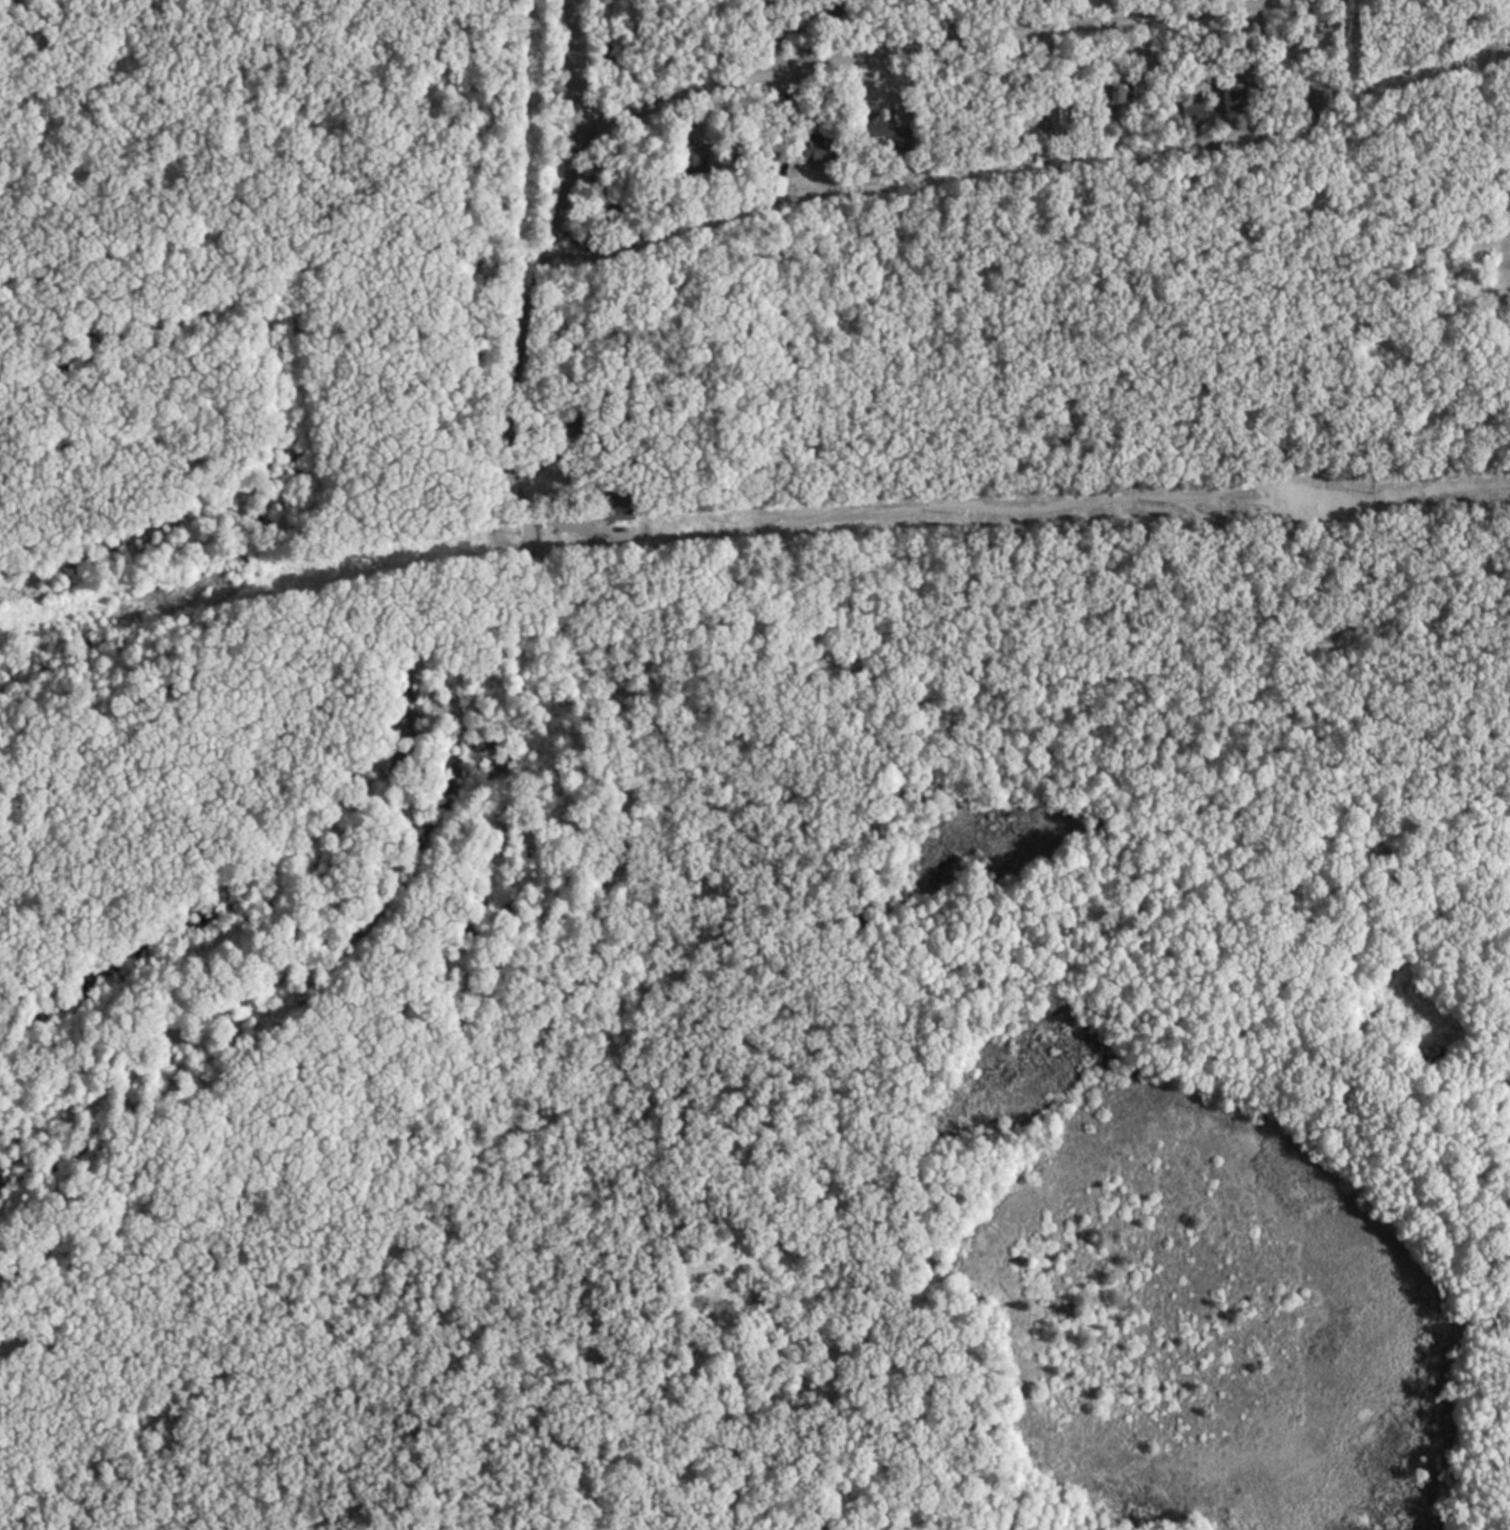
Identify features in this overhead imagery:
road: (570, 60)
building: (1231, 97)
building: (1193, 114)
building: (1058, 123)
building: (872, 130)
building: (899, 140)
building: (813, 150)
road: (297, 198)
road: (1024, 511)
road: (563, 620)
road: (1183, 721)
road: (862, 980)
quarry: (1210, 1322)

